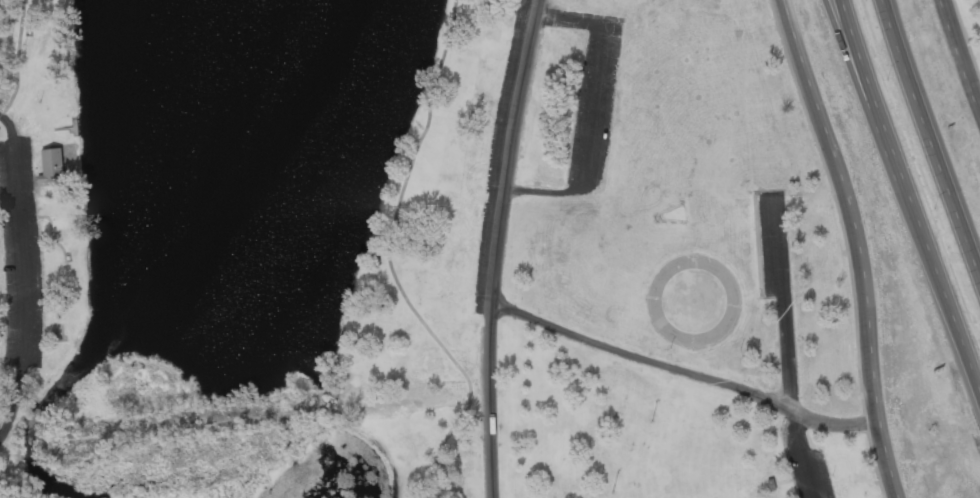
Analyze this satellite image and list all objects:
park: (970, 29)
road: (965, 40)
road: (849, 53)
road: (16, 59)
road: (958, 60)
road: (597, 109)
road: (929, 141)
building: (50, 166)
road: (907, 202)
parking lot: (773, 243)
road: (854, 244)
road: (495, 247)
park: (416, 254)
parking lot: (19, 259)
road: (387, 262)
road: (21, 276)
road: (787, 350)
road: (680, 370)
parking lot: (805, 466)

